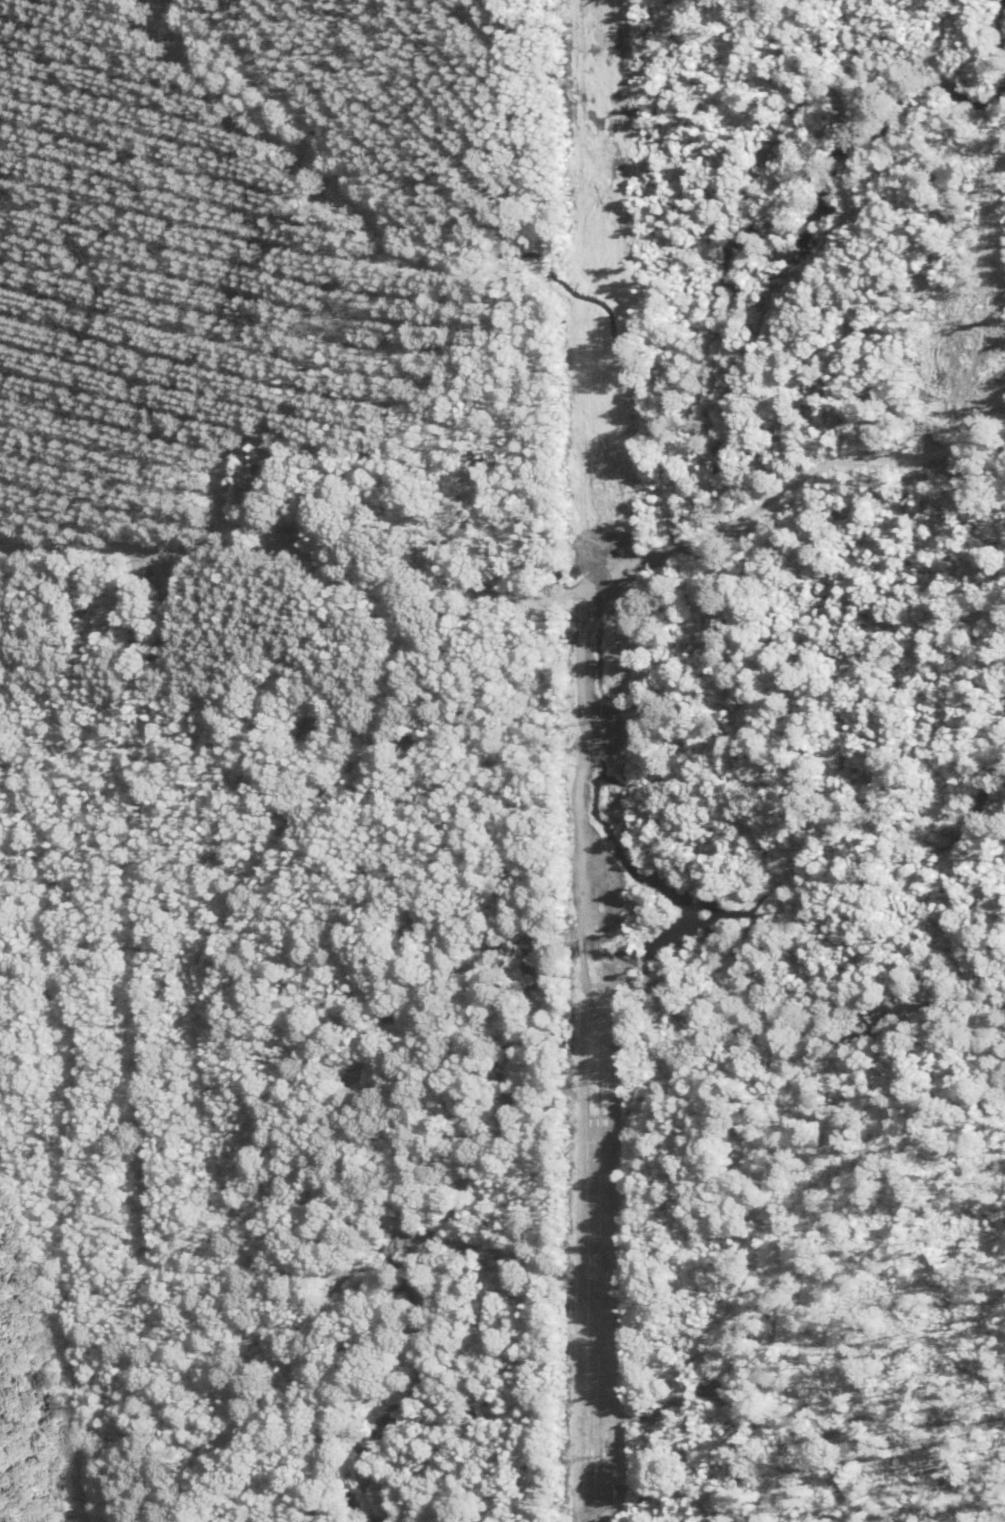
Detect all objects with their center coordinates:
power tower: (602, 340)
building: (142, 610)
power tower: (599, 717)
power tower: (598, 1079)
power tower: (599, 1453)

